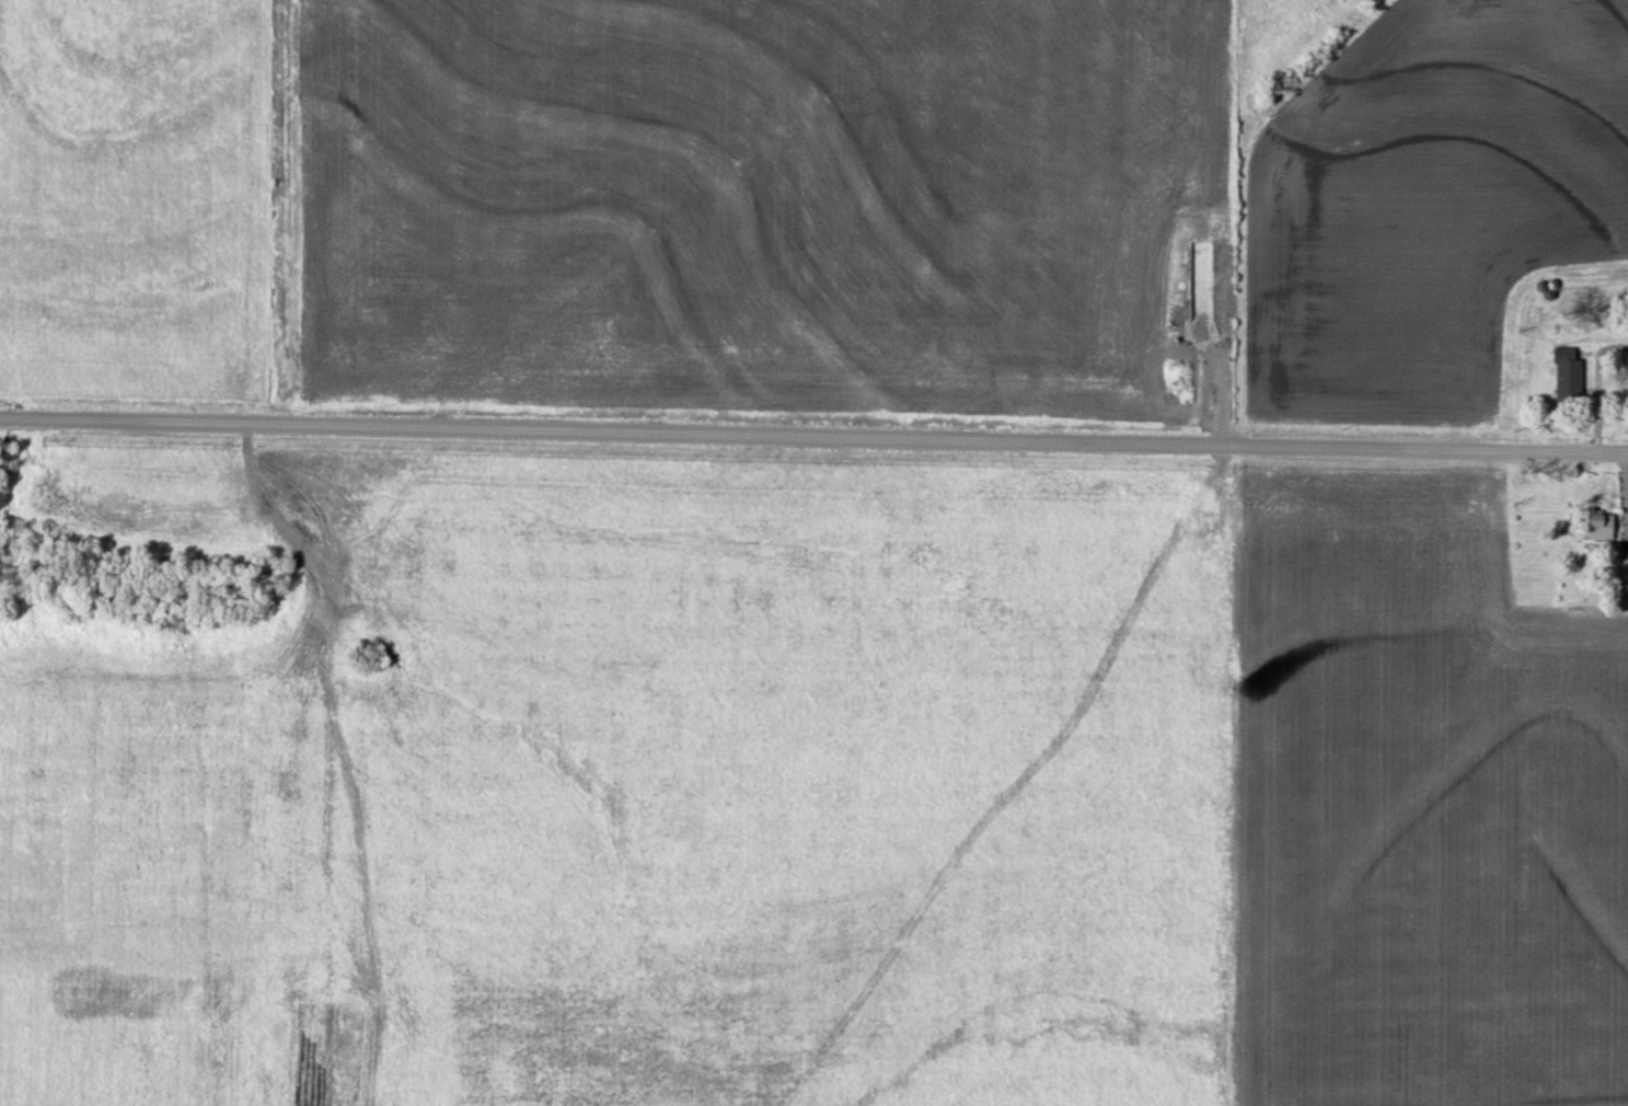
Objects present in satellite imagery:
building: (1567, 380)
road: (1595, 385)
road: (813, 436)
building: (1598, 528)

